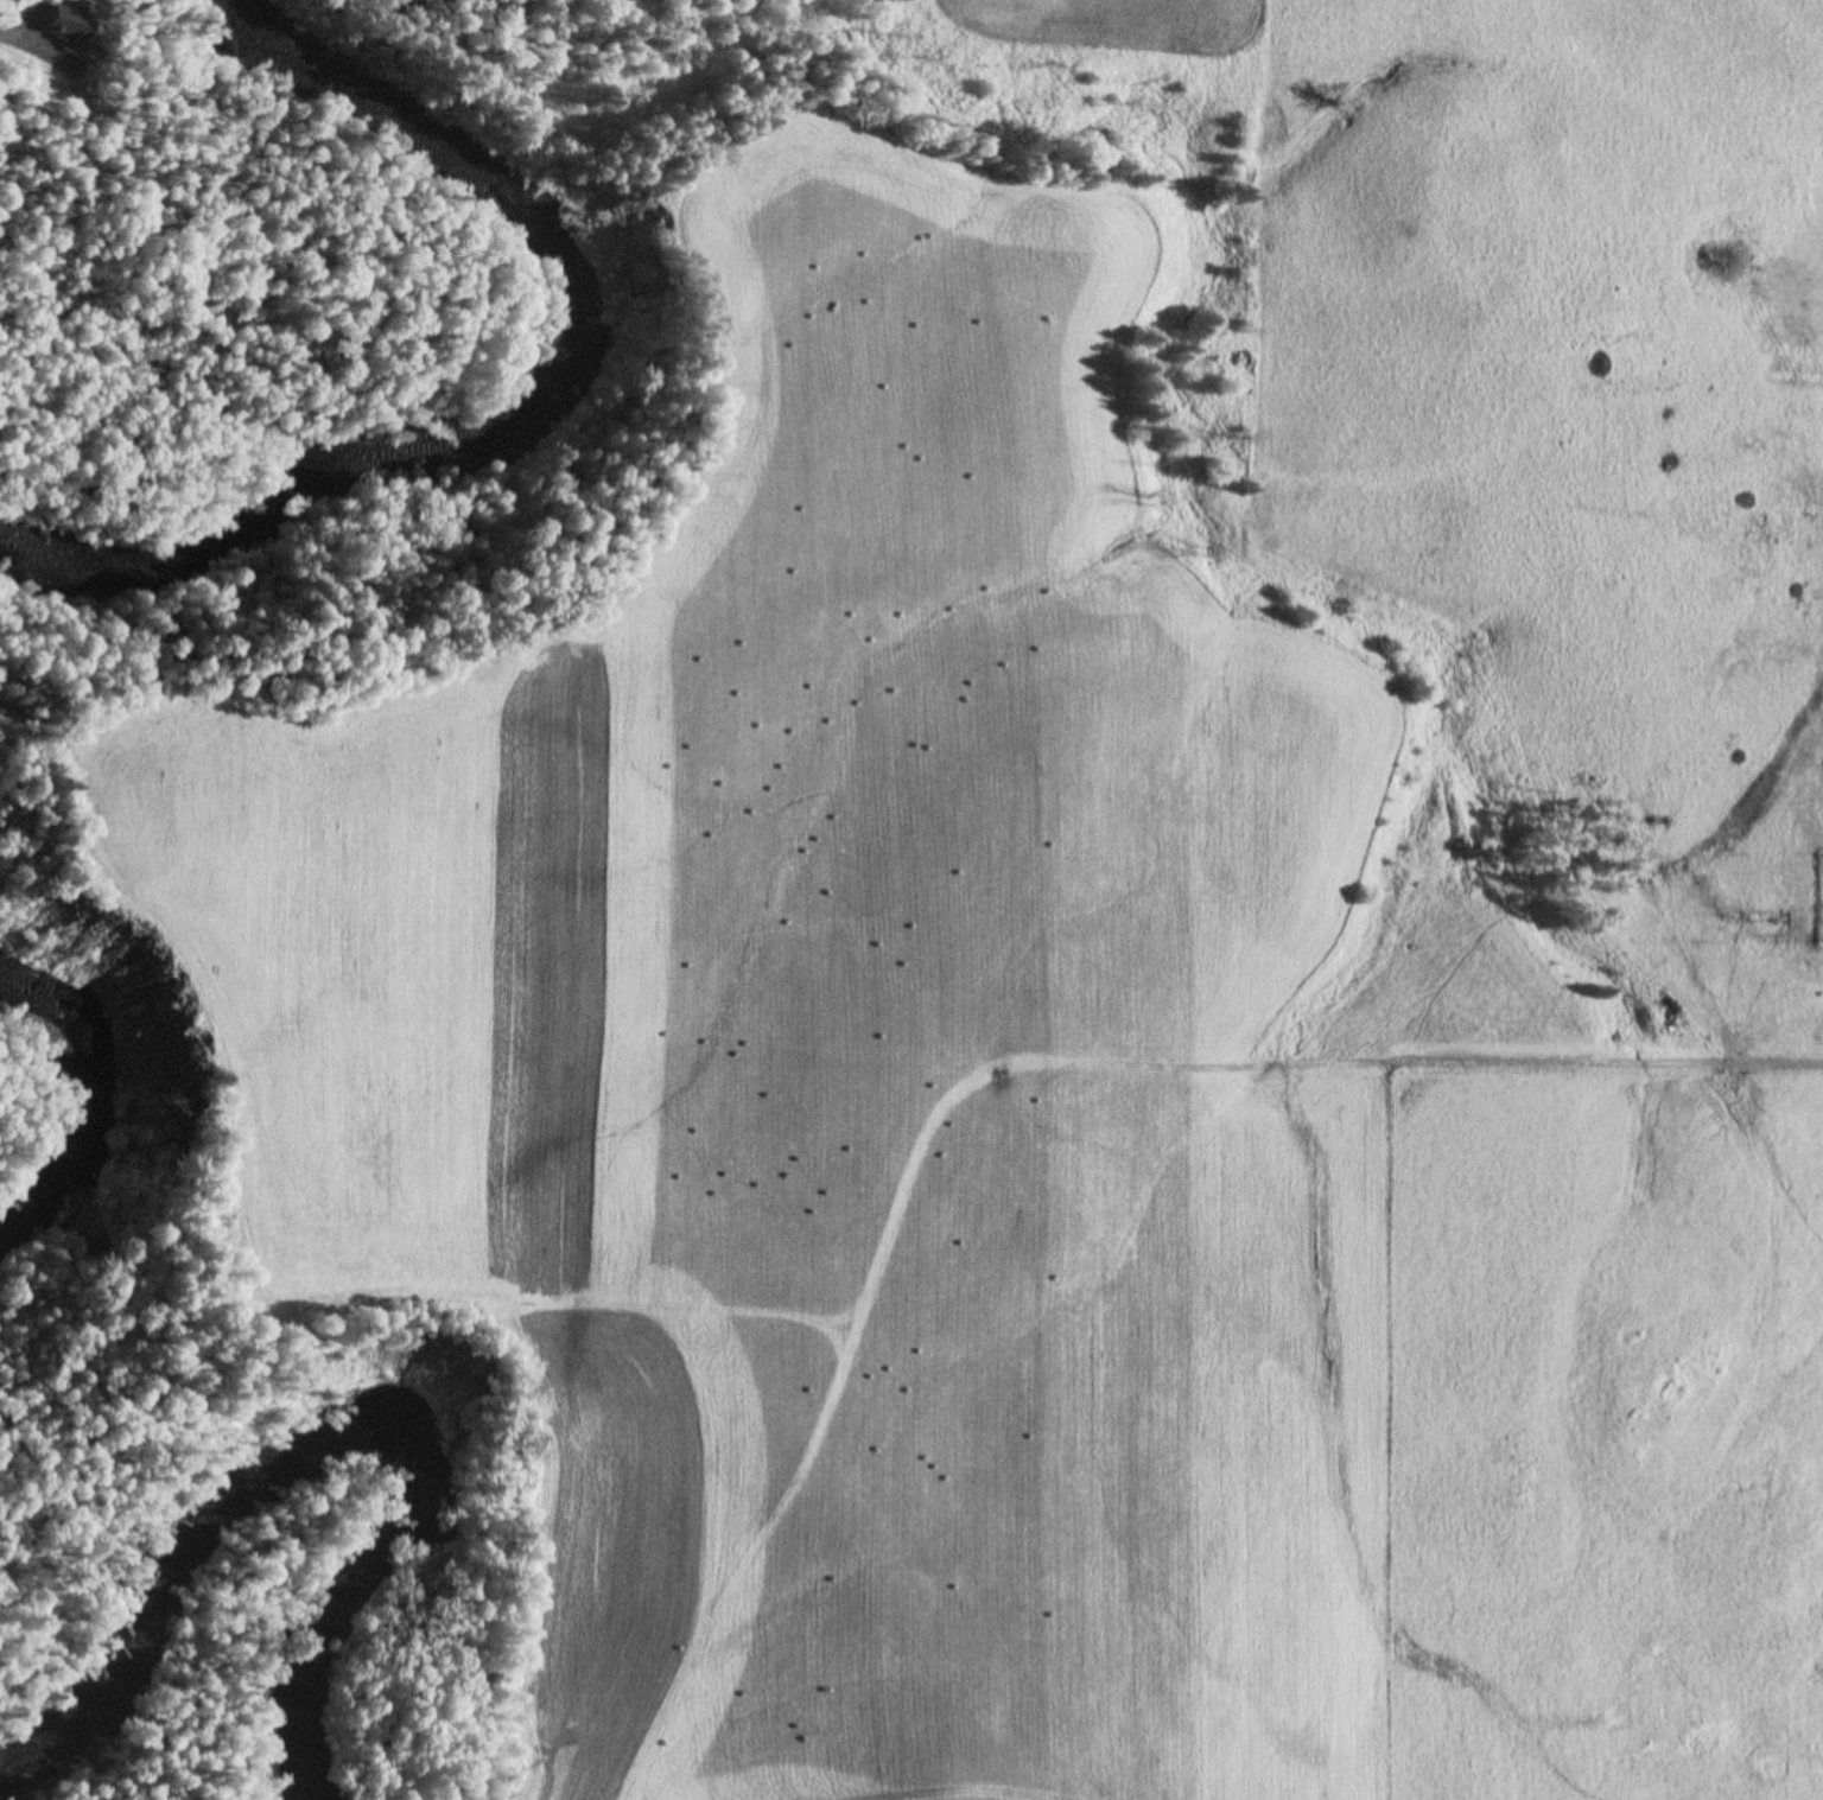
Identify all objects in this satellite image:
building: (64, 18)
road: (9, 39)
river: (536, 396)
river: (83, 1103)
river: (322, 1449)

